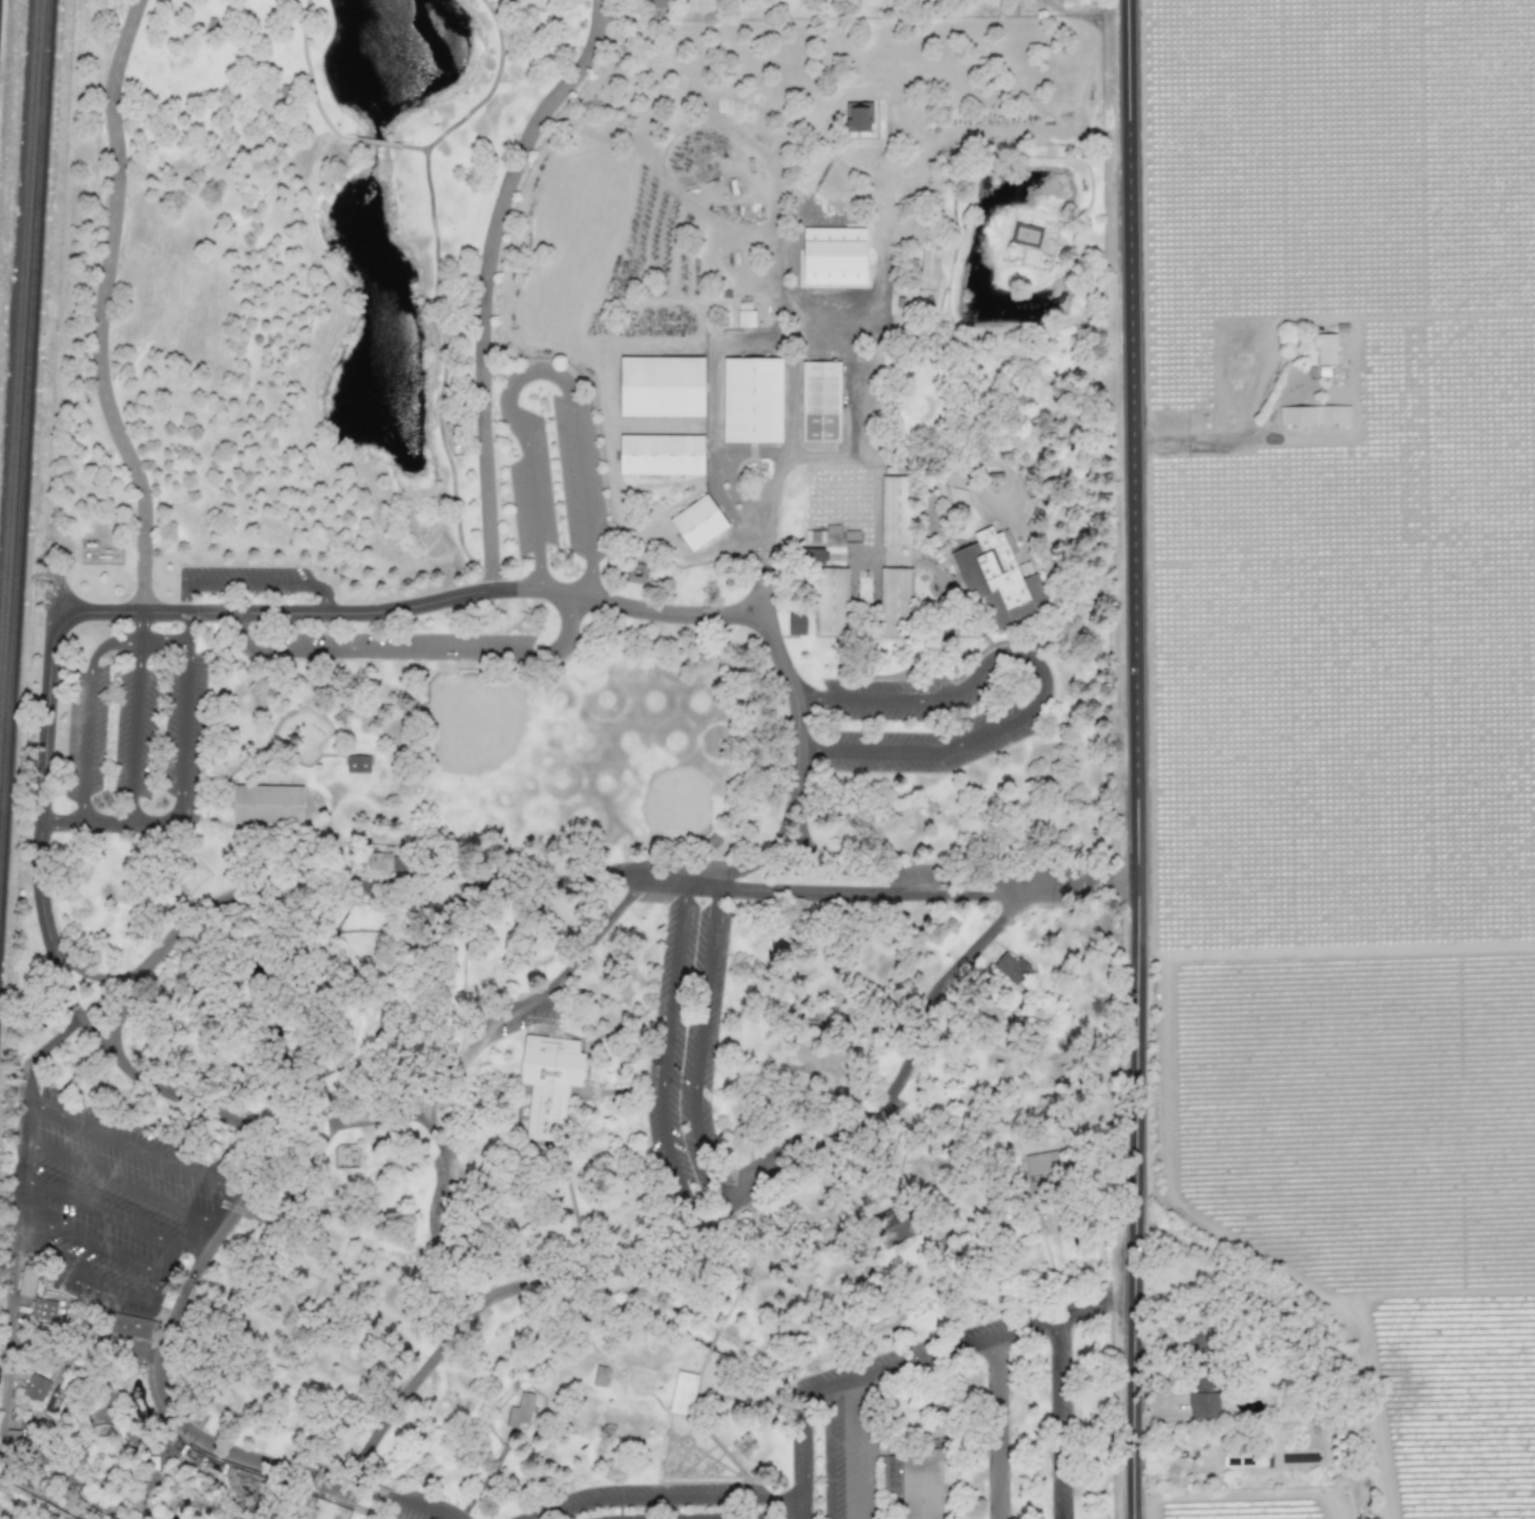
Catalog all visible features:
road: (602, 0)
road: (536, 2)
road: (310, 80)
road: (486, 97)
building: (857, 116)
road: (378, 143)
building: (1026, 235)
building: (834, 256)
road: (485, 281)
road: (101, 307)
railway: (20, 308)
building: (747, 319)
building: (1325, 349)
road: (541, 370)
building: (662, 387)
building: (753, 400)
building: (820, 402)
building: (1315, 415)
road: (1206, 444)
building: (662, 455)
railway: (26, 467)
road: (773, 499)
building: (898, 511)
building: (699, 523)
building: (812, 536)
building: (812, 555)
building: (636, 571)
building: (996, 579)
parking lot: (242, 580)
road: (251, 584)
road: (1138, 595)
building: (831, 602)
building: (896, 603)
road: (199, 612)
building: (796, 624)
road: (187, 626)
parking lot: (396, 647)
road: (412, 654)
road: (1042, 678)
road: (87, 715)
parking lot: (925, 716)
road: (135, 733)
parking lot: (136, 737)
park: (490, 737)
road: (180, 761)
building: (358, 763)
park: (572, 772)
park: (655, 777)
building: (268, 805)
road: (768, 852)
building: (379, 860)
building: (399, 864)
road: (886, 873)
road: (526, 882)
road: (1081, 885)
building: (1012, 967)
road: (95, 978)
road: (698, 1052)
road: (665, 1057)
road: (459, 1062)
building: (550, 1081)
road: (28, 1120)
road: (136, 1147)
building: (345, 1155)
building: (1042, 1164)
road: (126, 1183)
parking lot: (107, 1199)
road: (1133, 1208)
road: (115, 1216)
road: (703, 1221)
building: (895, 1224)
road: (92, 1244)
building: (28, 1281)
road: (112, 1289)
road: (1095, 1306)
building: (43, 1309)
building: (131, 1326)
road: (160, 1350)
road: (1173, 1362)
road: (874, 1372)
road: (1133, 1372)
building: (1201, 1375)
building: (56, 1376)
building: (158, 1380)
building: (35, 1388)
building: (684, 1393)
building: (521, 1410)
road: (1058, 1419)
road: (992, 1428)
building: (17, 1437)
road: (862, 1448)
building: (104, 1449)
road: (829, 1453)
building: (890, 1472)
road: (352, 1483)
building: (921, 1486)
road: (373, 1490)
road: (677, 1499)
road: (418, 1506)
road: (789, 1515)
road: (806, 1515)
theme park: (387, 1517)
building: (299, 1518)

